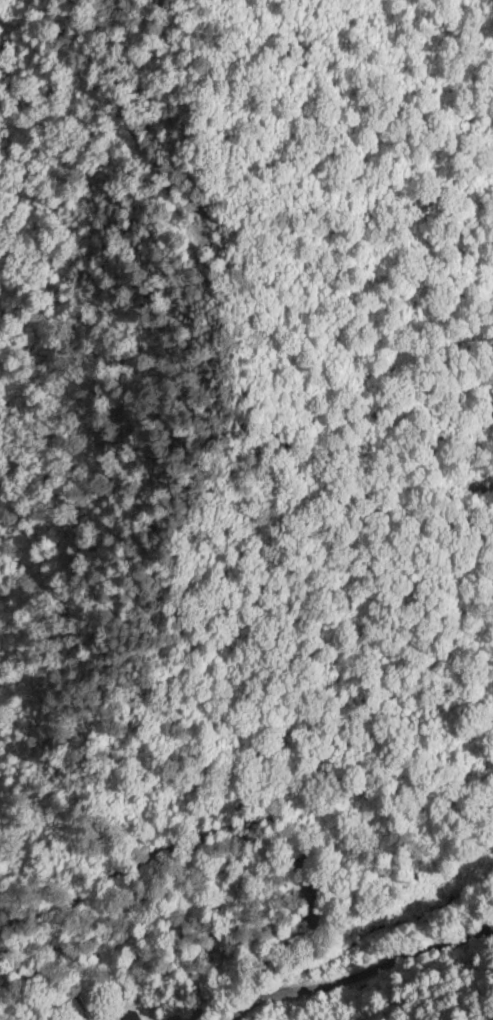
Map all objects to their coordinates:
road: (357, 993)

